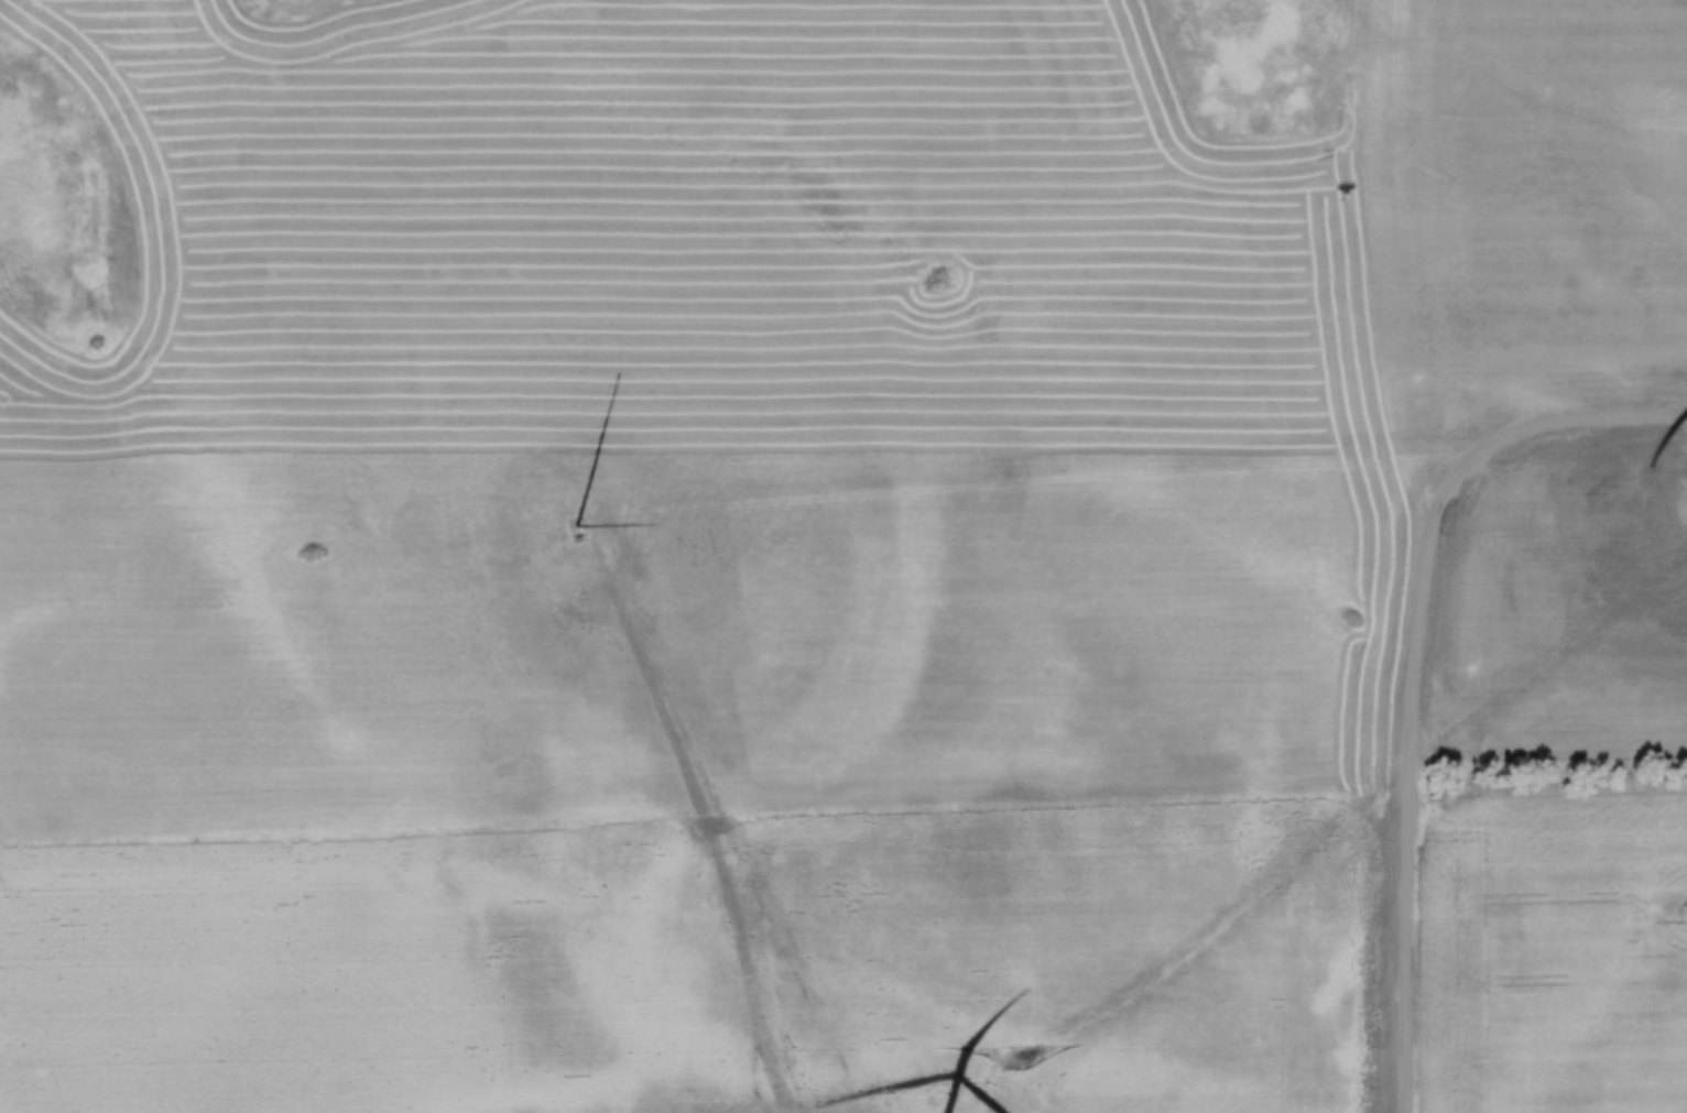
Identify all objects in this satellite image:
road: (1392, 555)

